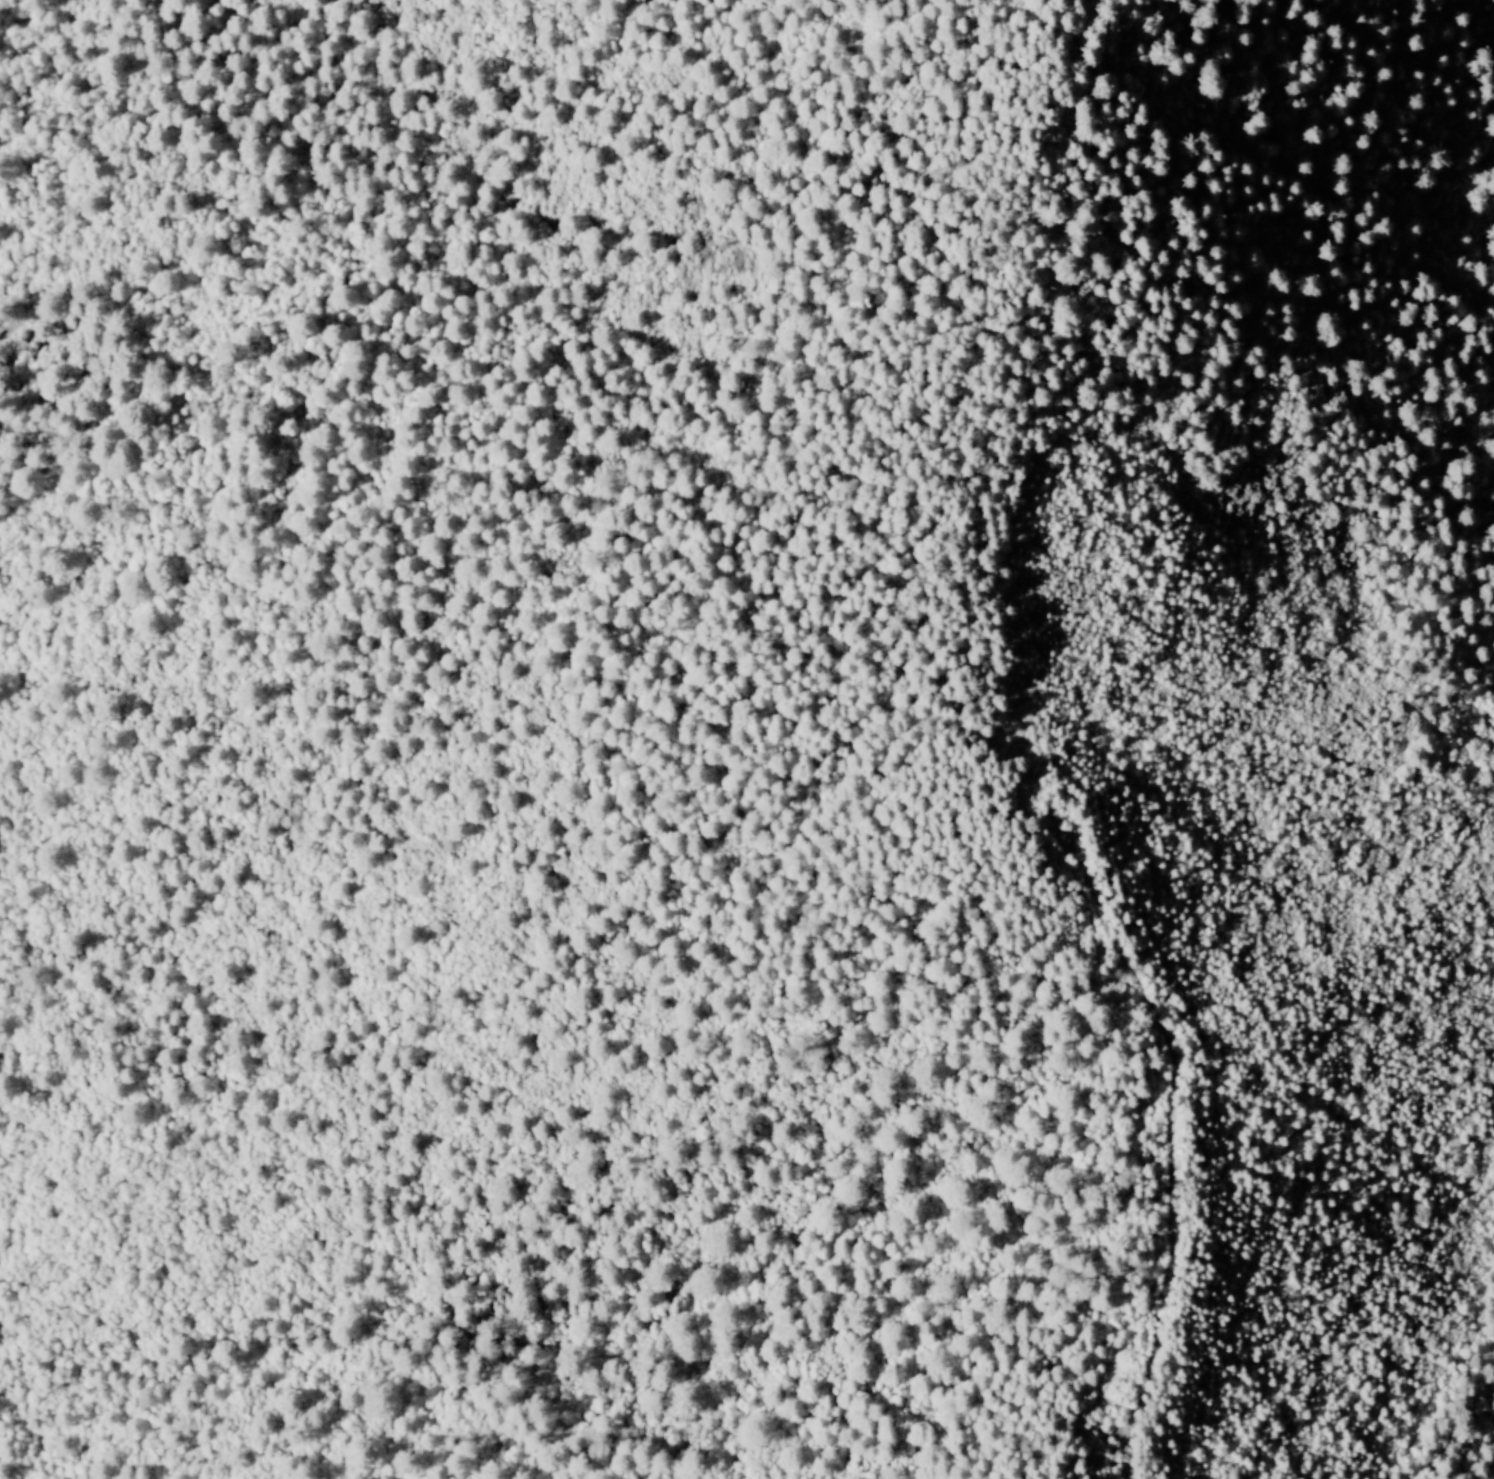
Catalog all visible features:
road: (1128, 1468)

